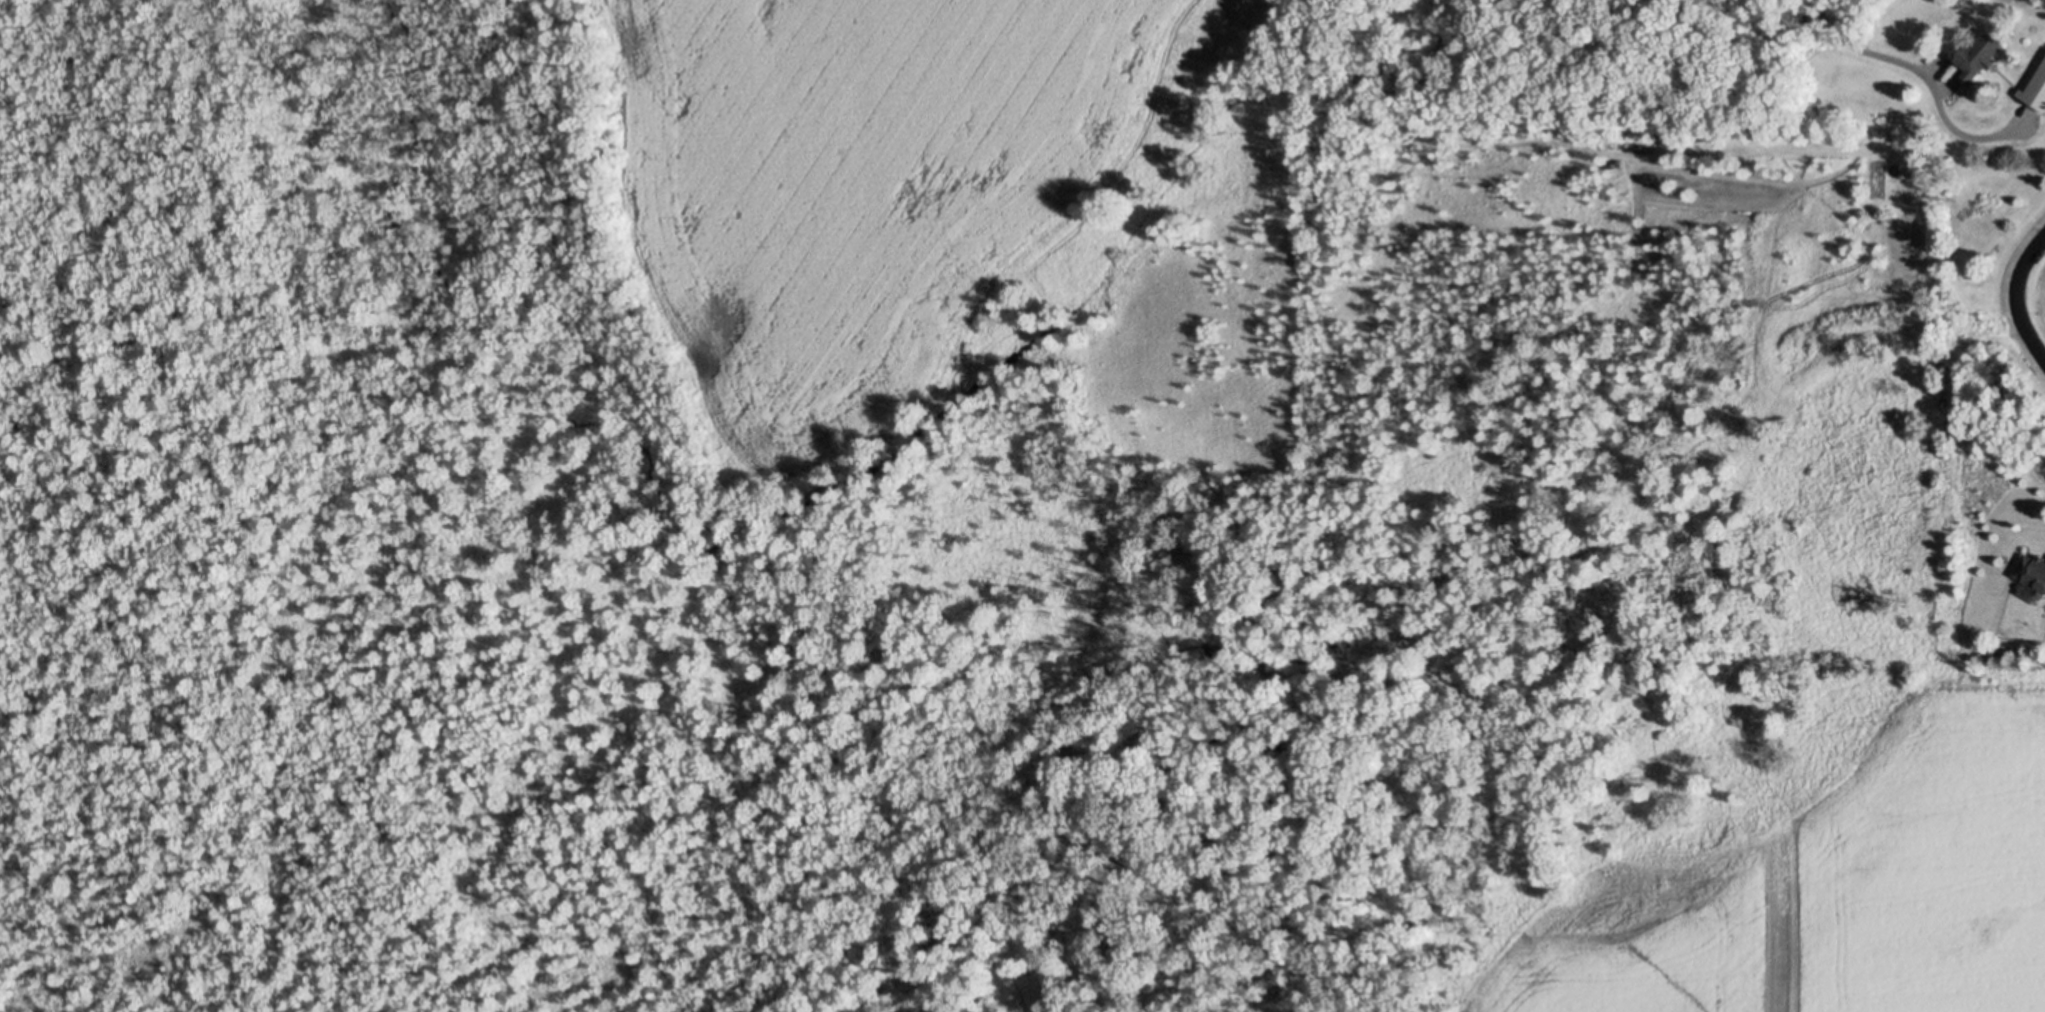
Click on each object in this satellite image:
building: (1978, 54)
road: (1926, 69)
building: (2035, 89)
building: (1754, 131)
building: (1664, 139)
building: (1921, 171)
road: (2017, 294)
building: (2032, 573)
building: (2018, 629)
building: (1998, 651)

